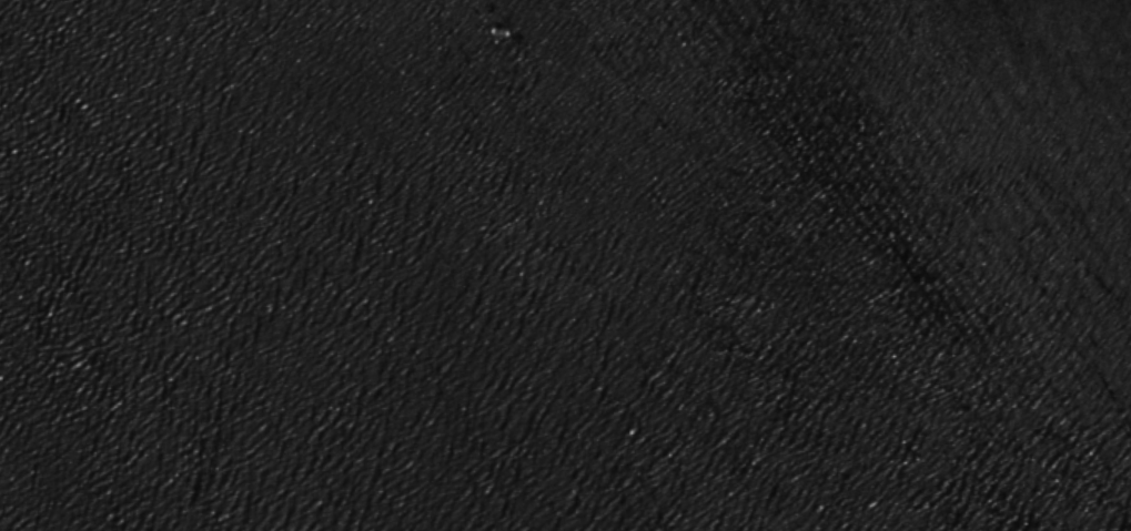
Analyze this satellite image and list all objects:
river: (329, 326)

